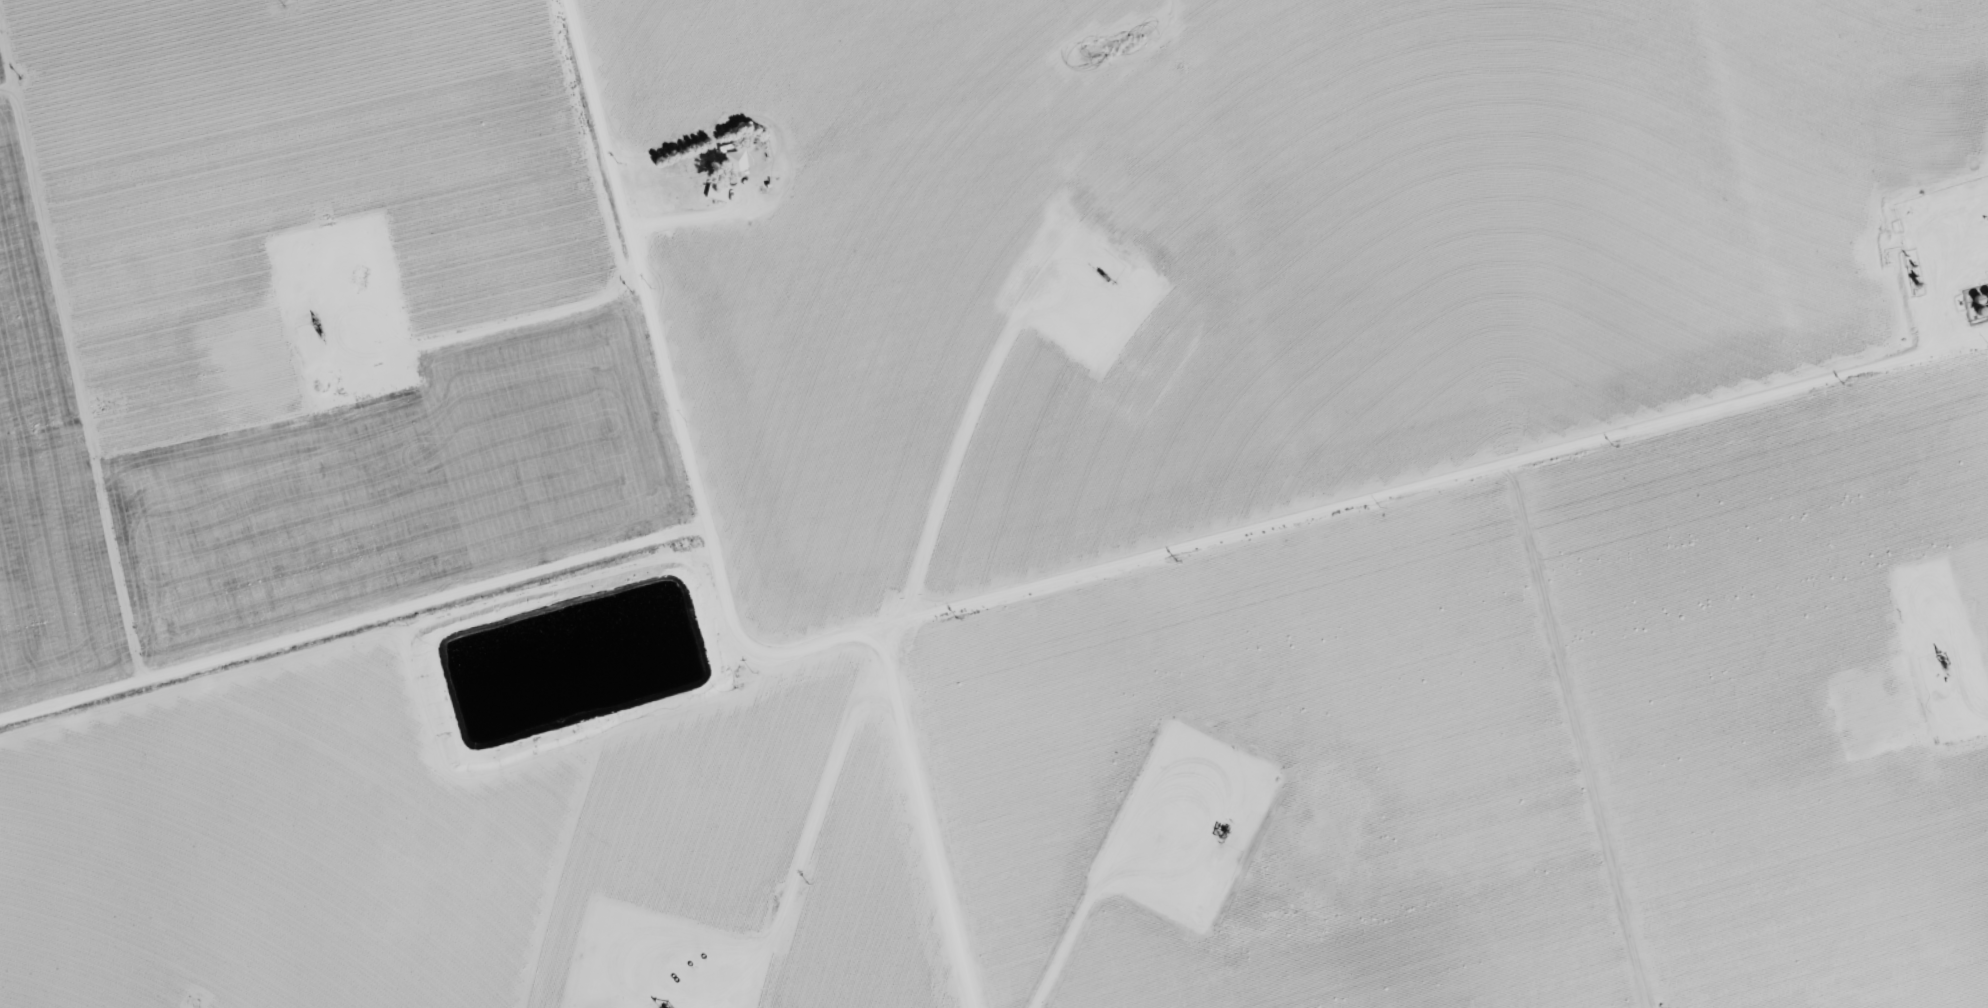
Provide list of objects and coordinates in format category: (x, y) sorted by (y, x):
road: (671, 393)
road: (1415, 516)
road: (891, 831)

